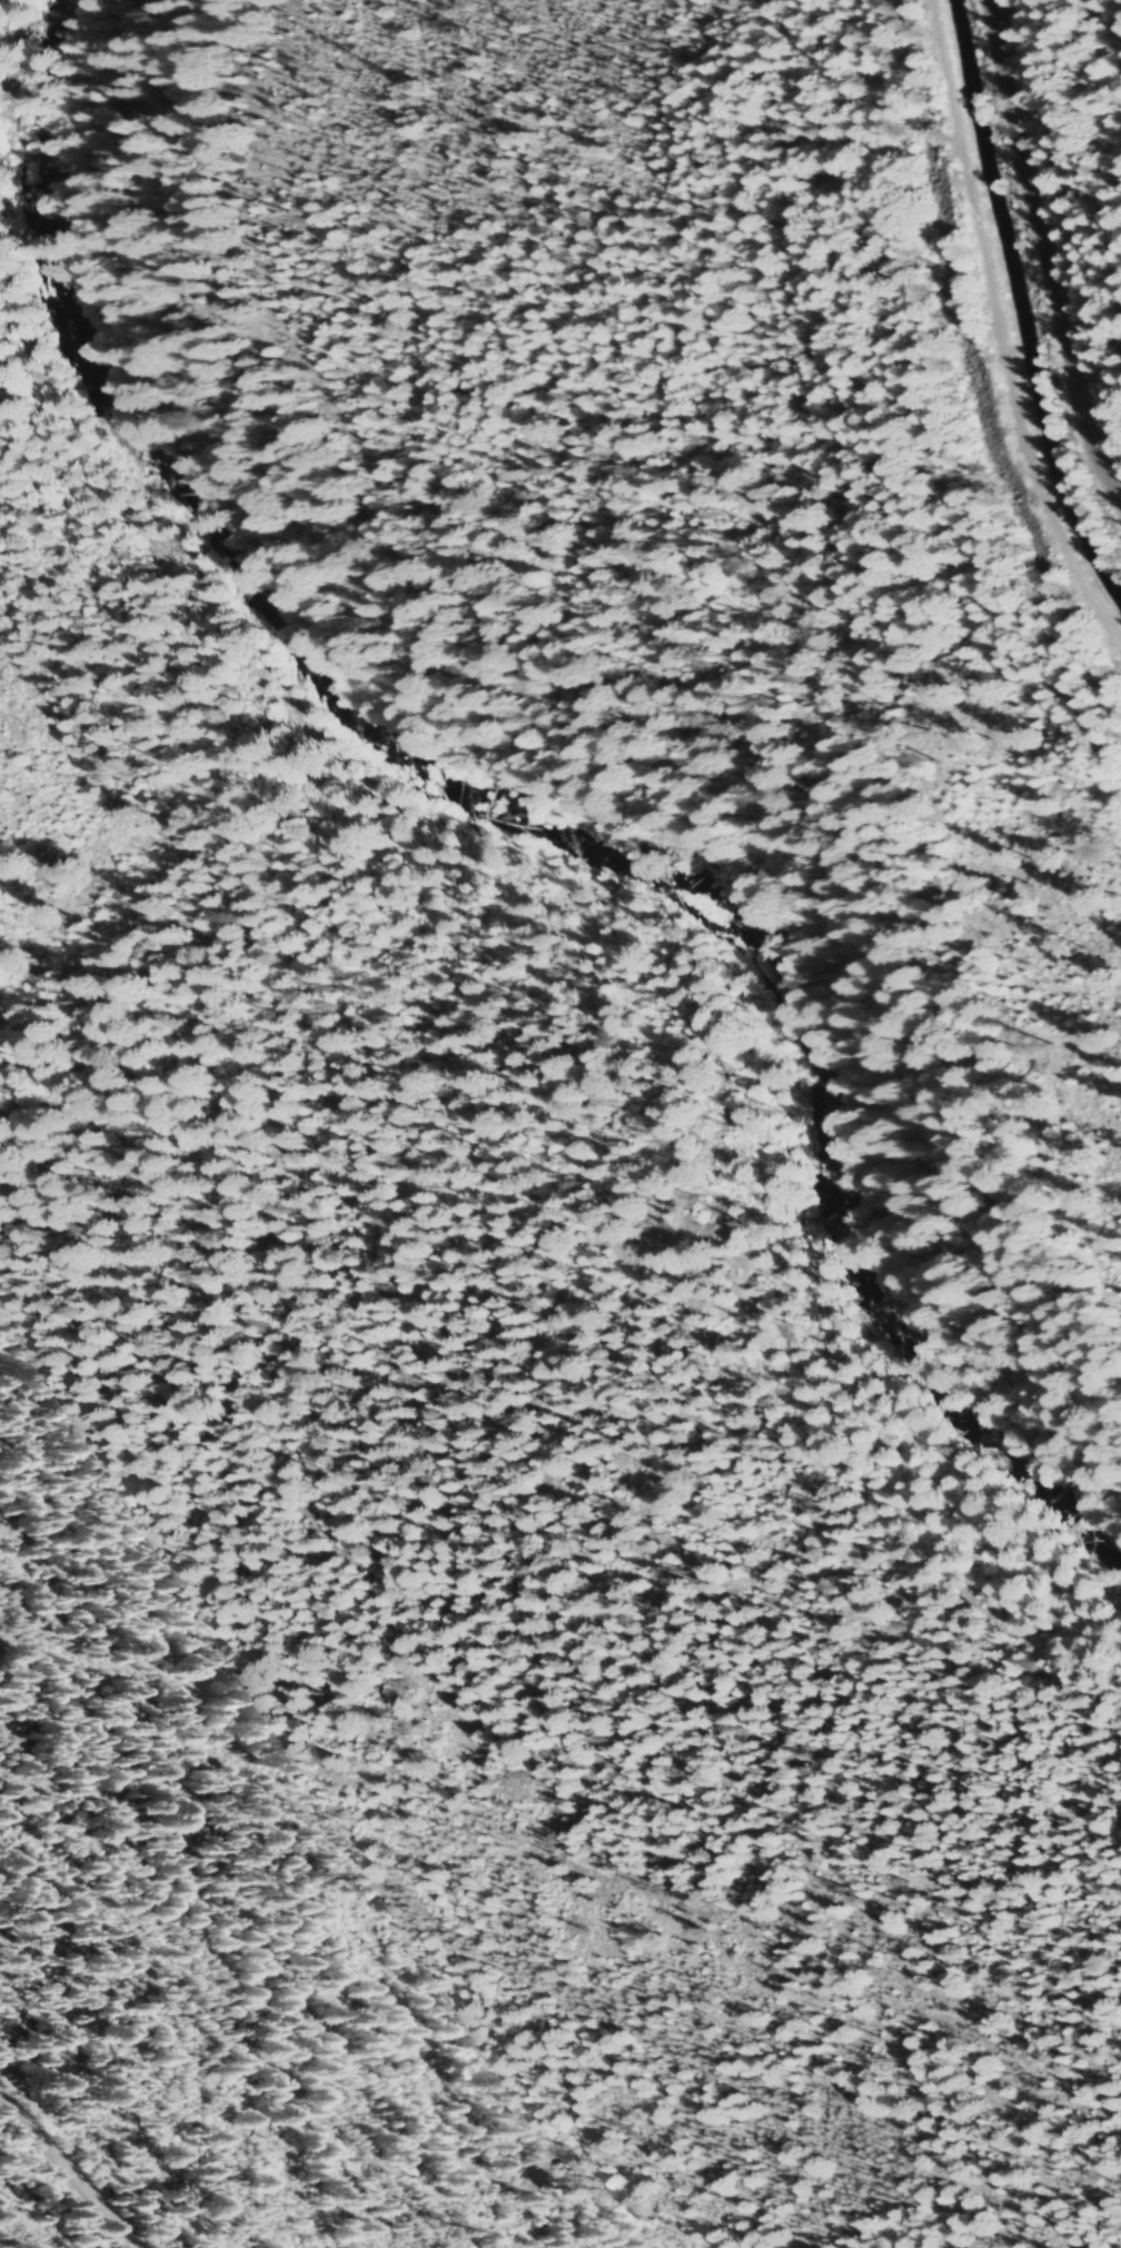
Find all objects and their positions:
road: (1048, 249)
road: (1003, 330)
road: (598, 760)
river: (525, 798)
road: (66, 2175)

